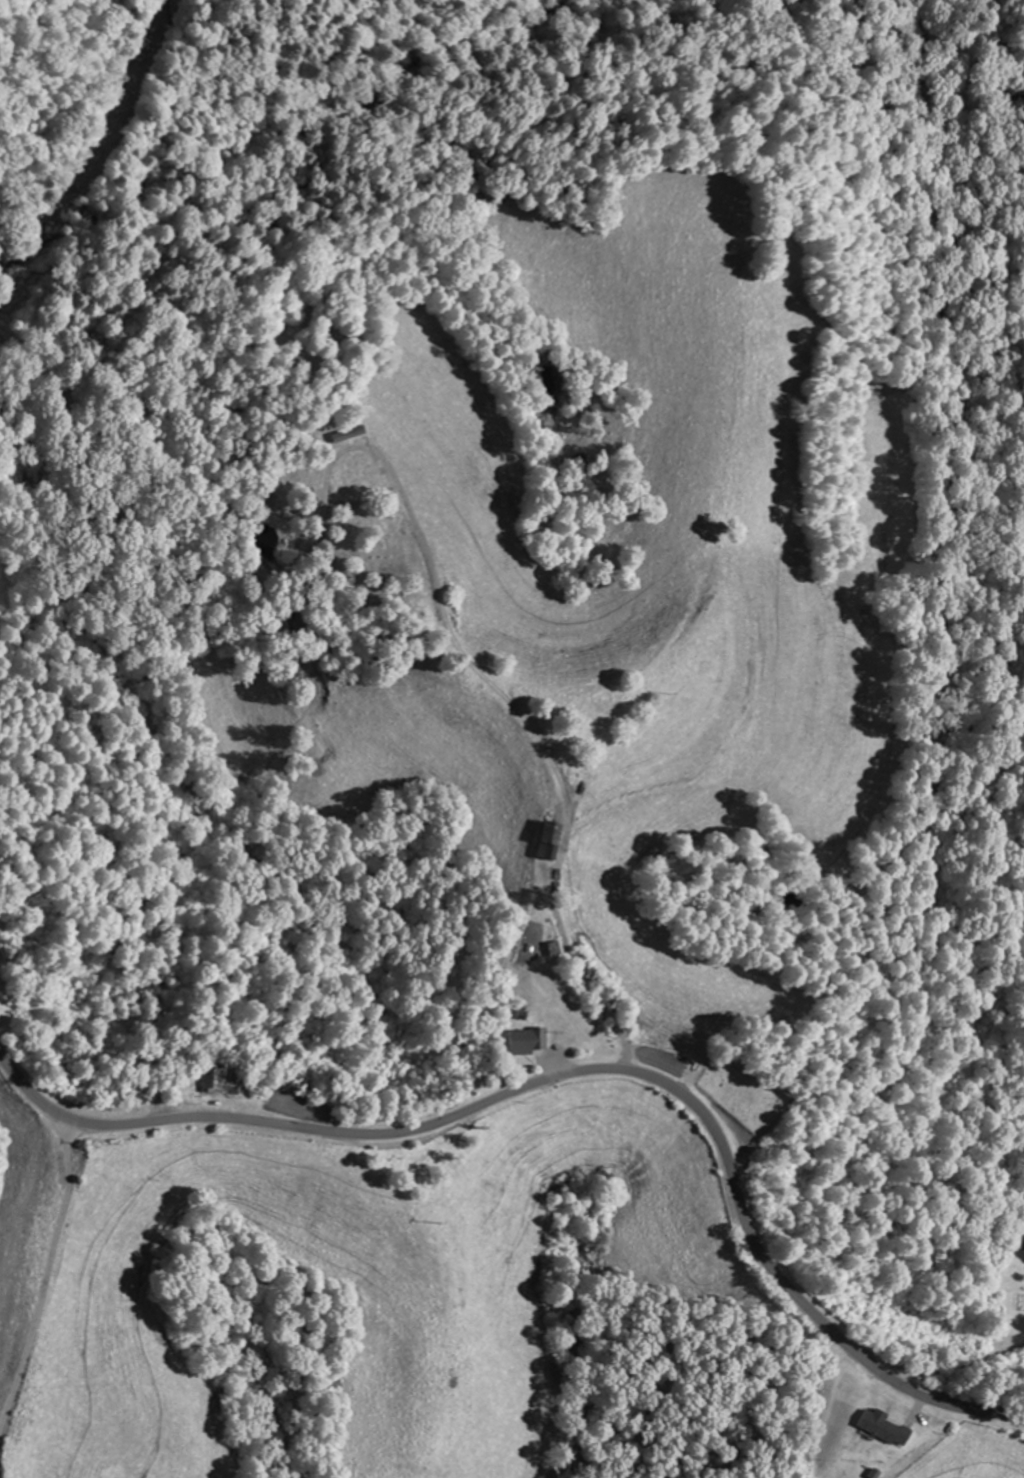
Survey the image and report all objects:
building: (544, 841)
building: (523, 1041)
road: (579, 1071)
building: (206, 1081)
park: (733, 1093)
road: (817, 1128)
road: (45, 1278)
building: (878, 1428)

